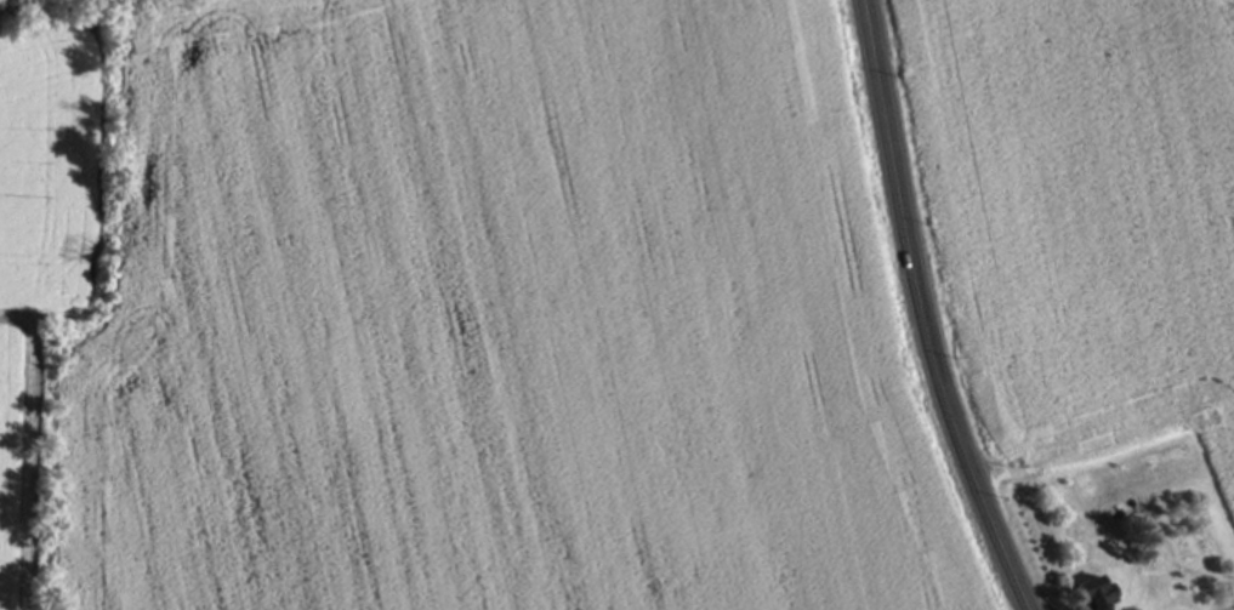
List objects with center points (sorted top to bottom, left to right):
road: (923, 312)
building: (1096, 594)

